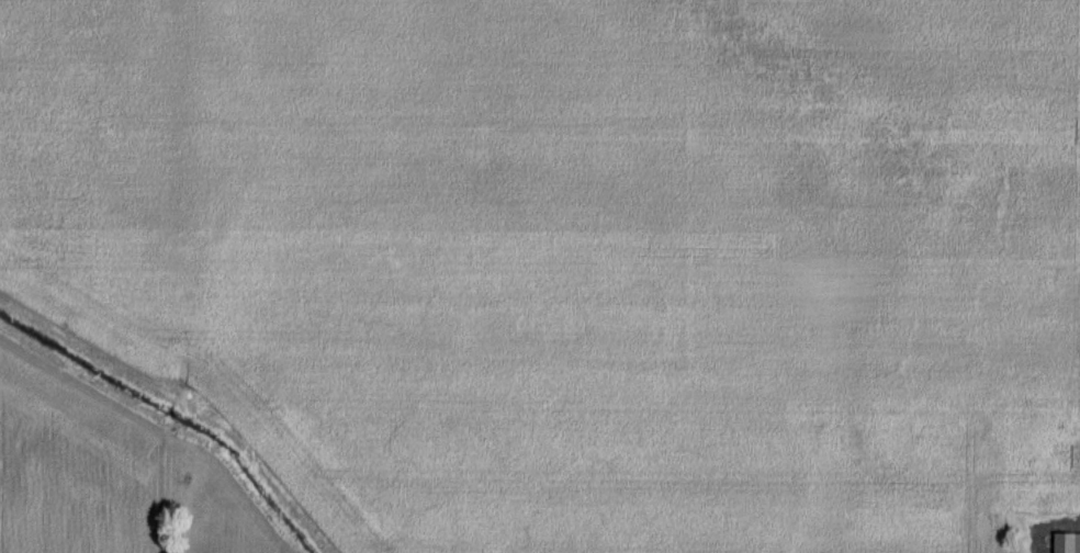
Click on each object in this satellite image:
building: (1048, 546)

